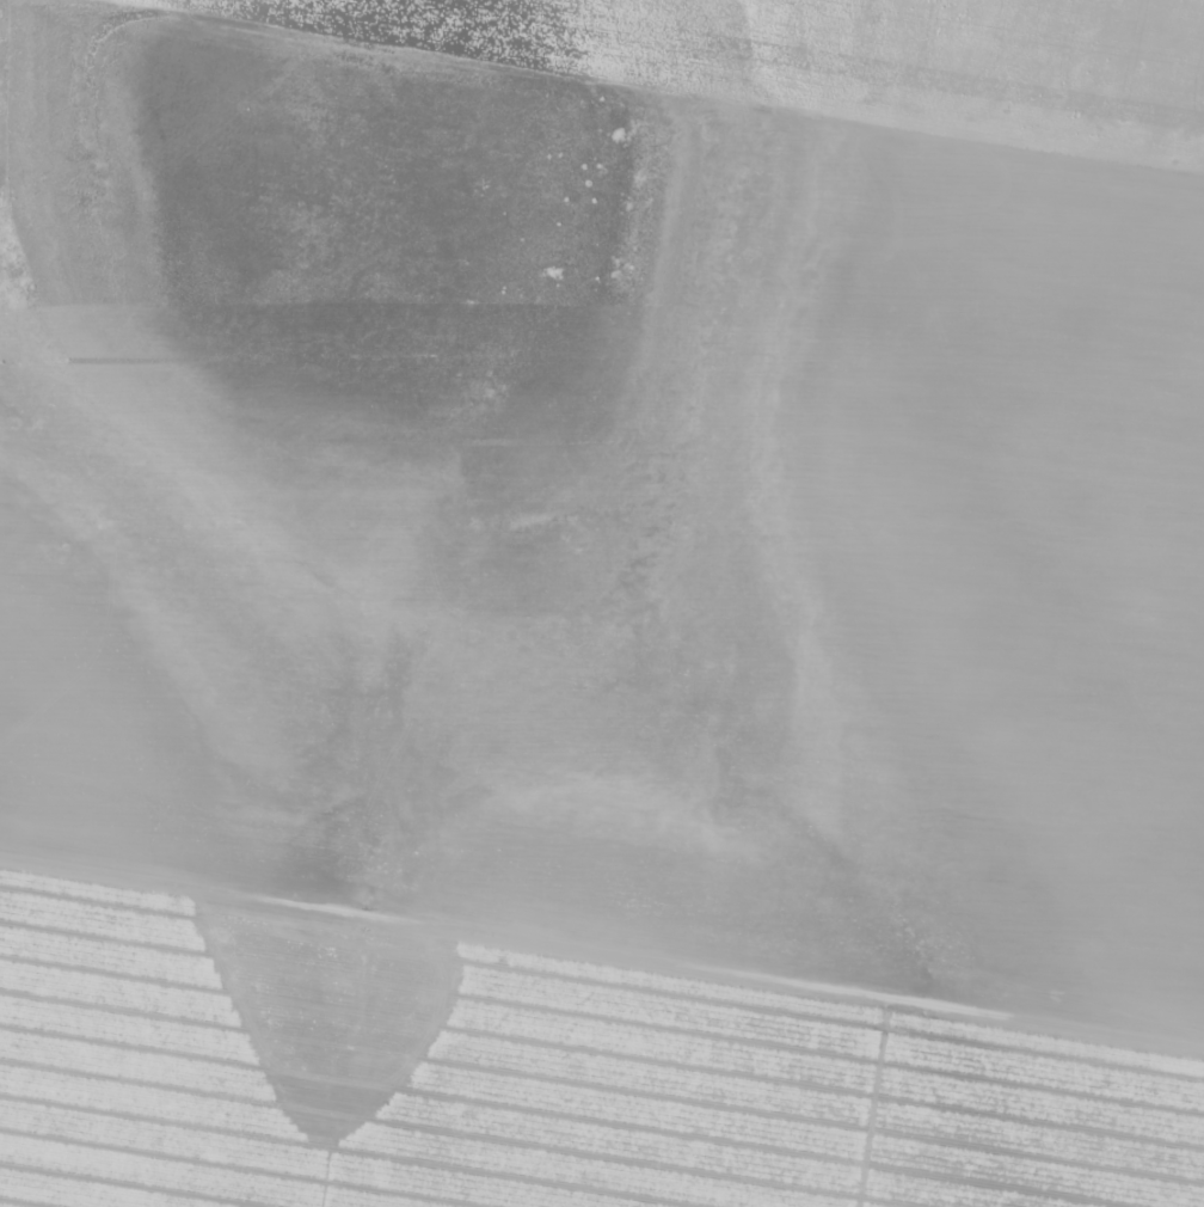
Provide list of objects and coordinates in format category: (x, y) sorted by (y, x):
road: (895, 207)

